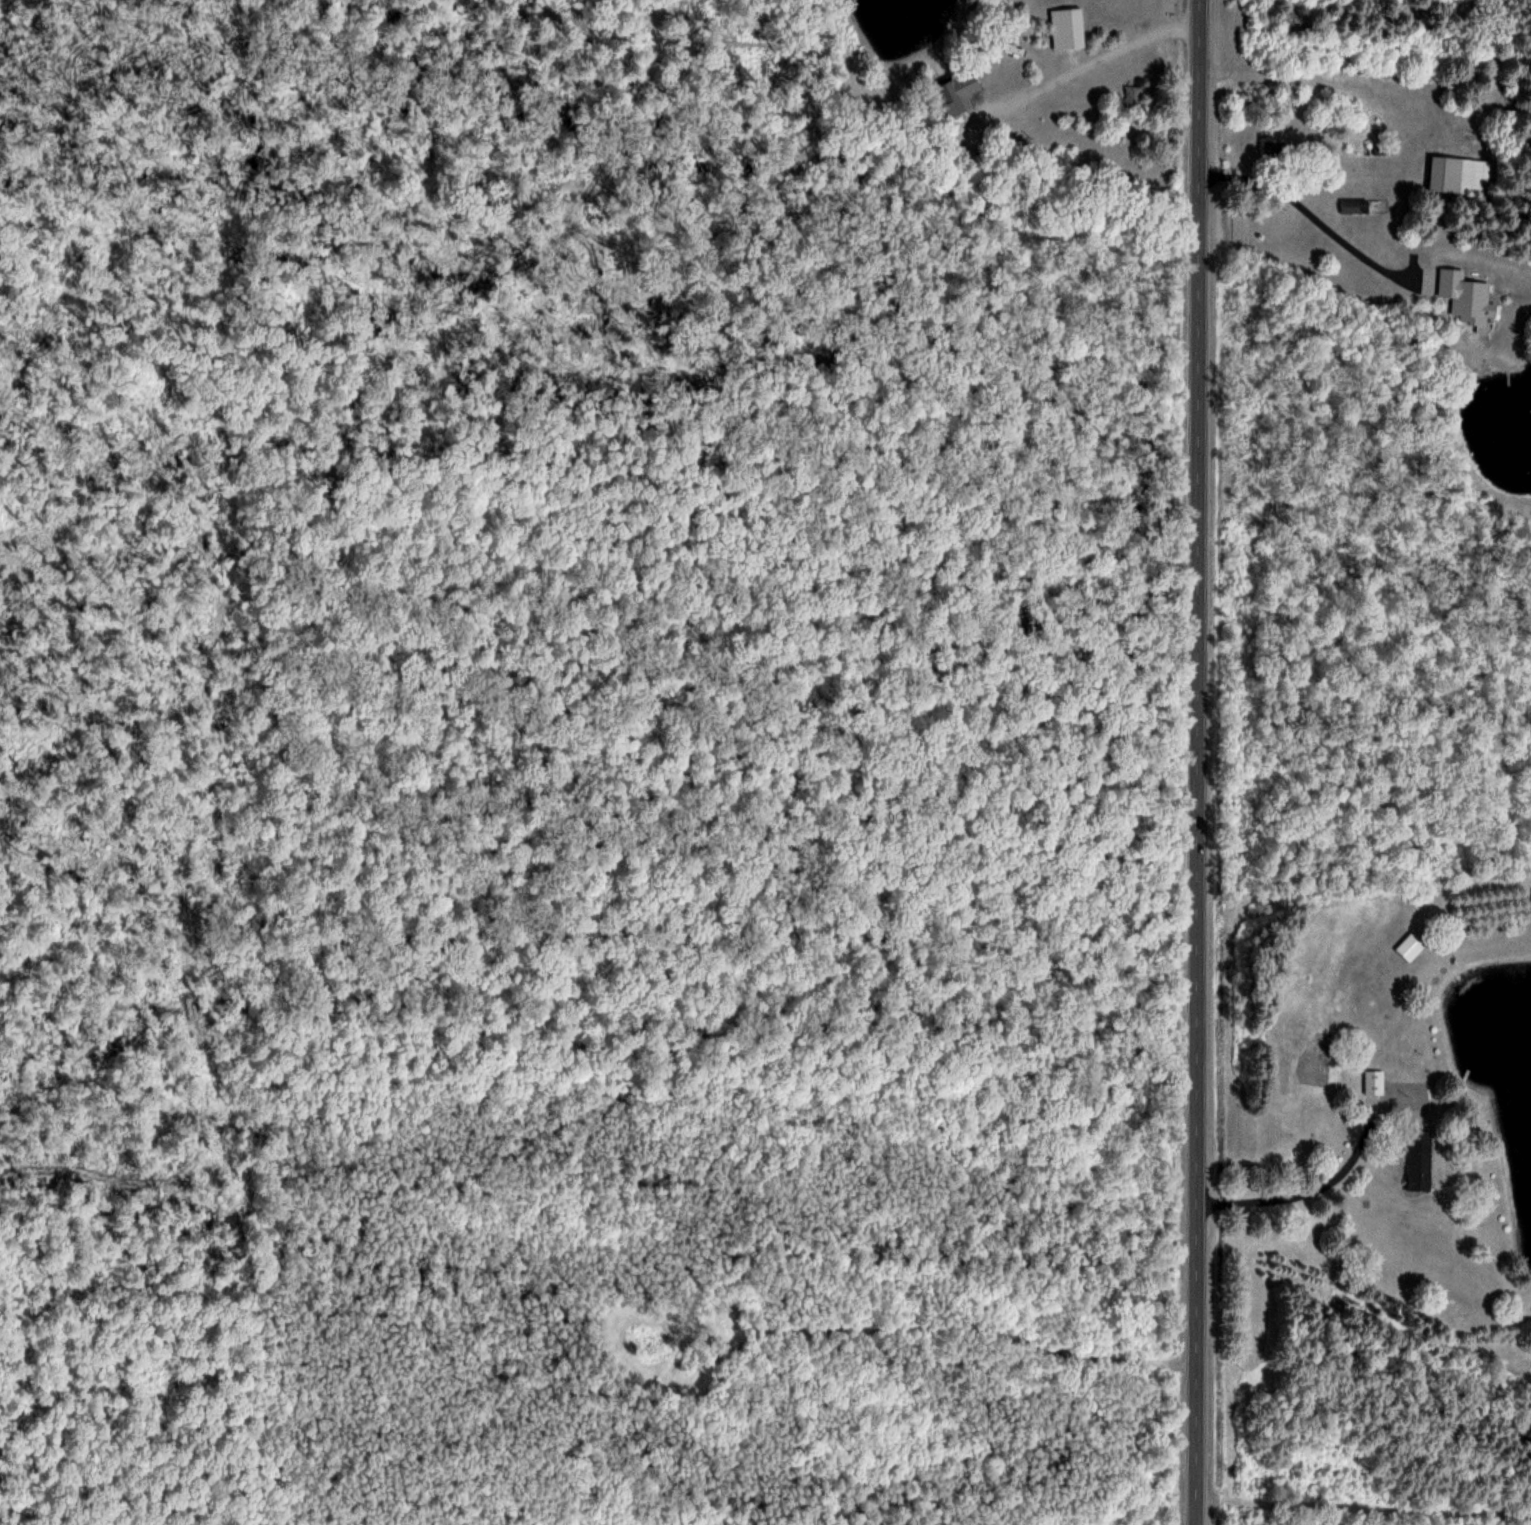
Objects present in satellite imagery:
building: (1066, 27)
road: (1097, 59)
building: (951, 94)
building: (1133, 94)
building: (1455, 175)
building: (1353, 206)
road: (1316, 218)
building: (1464, 296)
road: (1197, 762)
building: (1409, 946)
building: (1373, 1081)
building: (1417, 1159)
road: (1301, 1195)

